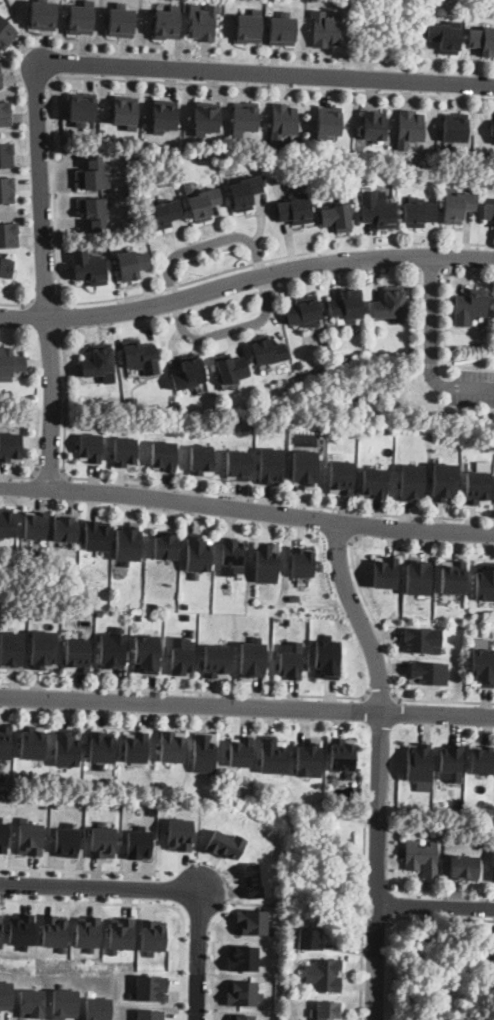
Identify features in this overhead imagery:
building: (42, 14)
building: (80, 17)
building: (121, 20)
building: (201, 20)
building: (166, 22)
building: (248, 26)
building: (325, 27)
building: (281, 28)
building: (6, 32)
building: (445, 35)
building: (482, 39)
road: (57, 64)
building: (0, 75)
building: (81, 107)
building: (124, 111)
building: (5, 113)
building: (163, 115)
building: (244, 117)
building: (205, 118)
building: (282, 121)
building: (328, 121)
building: (374, 124)
building: (454, 126)
building: (409, 127)
building: (492, 127)
building: (6, 154)
building: (93, 174)
building: (187, 187)
building: (6, 188)
road: (55, 190)
building: (244, 192)
building: (203, 203)
building: (456, 205)
building: (295, 210)
building: (376, 211)
building: (93, 212)
building: (489, 212)
building: (163, 213)
building: (418, 214)
building: (336, 217)
building: (9, 234)
road: (207, 243)
road: (415, 256)
building: (132, 263)
building: (6, 266)
building: (89, 266)
road: (245, 279)
road: (46, 300)
road: (19, 304)
building: (389, 304)
building: (346, 305)
building: (470, 307)
building: (303, 312)
road: (421, 316)
road: (66, 317)
road: (431, 327)
road: (227, 330)
building: (268, 349)
building: (141, 355)
building: (337, 356)
building: (10, 363)
building: (98, 363)
building: (299, 365)
building: (231, 368)
building: (188, 372)
road: (471, 389)
building: (133, 401)
building: (176, 404)
building: (236, 419)
building: (10, 445)
building: (91, 447)
building: (125, 451)
building: (163, 455)
building: (201, 459)
building: (237, 464)
building: (270, 465)
building: (304, 468)
road: (51, 473)
building: (341, 476)
road: (23, 477)
building: (411, 482)
building: (443, 482)
building: (373, 483)
building: (478, 487)
road: (205, 491)
road: (246, 511)
building: (5, 521)
building: (35, 524)
road: (358, 525)
building: (65, 526)
building: (96, 534)
building: (128, 543)
building: (166, 545)
building: (198, 551)
building: (232, 556)
building: (302, 561)
building: (266, 562)
building: (386, 572)
building: (418, 576)
building: (452, 577)
building: (484, 581)
building: (99, 612)
building: (137, 617)
building: (423, 640)
building: (41, 649)
building: (111, 649)
building: (9, 650)
building: (146, 653)
building: (77, 654)
building: (181, 655)
building: (327, 658)
building: (251, 659)
building: (290, 659)
building: (216, 660)
road: (390, 660)
building: (482, 663)
road: (374, 665)
building: (428, 672)
road: (187, 690)
road: (382, 695)
road: (247, 707)
building: (4, 741)
building: (32, 741)
building: (102, 746)
building: (172, 746)
building: (67, 747)
building: (136, 747)
building: (241, 751)
building: (204, 752)
building: (273, 754)
building: (342, 754)
building: (309, 758)
building: (481, 759)
building: (418, 761)
building: (451, 762)
building: (1, 774)
building: (152, 810)
building: (179, 834)
building: (3, 835)
building: (29, 837)
building: (66, 840)
building: (102, 840)
building: (138, 843)
building: (476, 843)
building: (422, 858)
building: (464, 868)
building: (492, 868)
road: (80, 870)
road: (101, 888)
road: (157, 889)
road: (150, 902)
road: (435, 907)
road: (376, 916)
road: (377, 918)
road: (438, 918)
building: (252, 922)
road: (363, 922)
building: (21, 930)
building: (54, 931)
building: (87, 932)
road: (185, 932)
road: (198, 932)
building: (120, 933)
building: (152, 936)
building: (309, 940)
road: (199, 955)
building: (491, 955)
building: (242, 958)
road: (213, 973)
building: (326, 975)
building: (149, 988)
building: (241, 992)
building: (5, 994)
building: (64, 1002)
building: (31, 1003)
building: (97, 1008)
building: (325, 1011)
building: (150, 1014)
building: (242, 1017)

